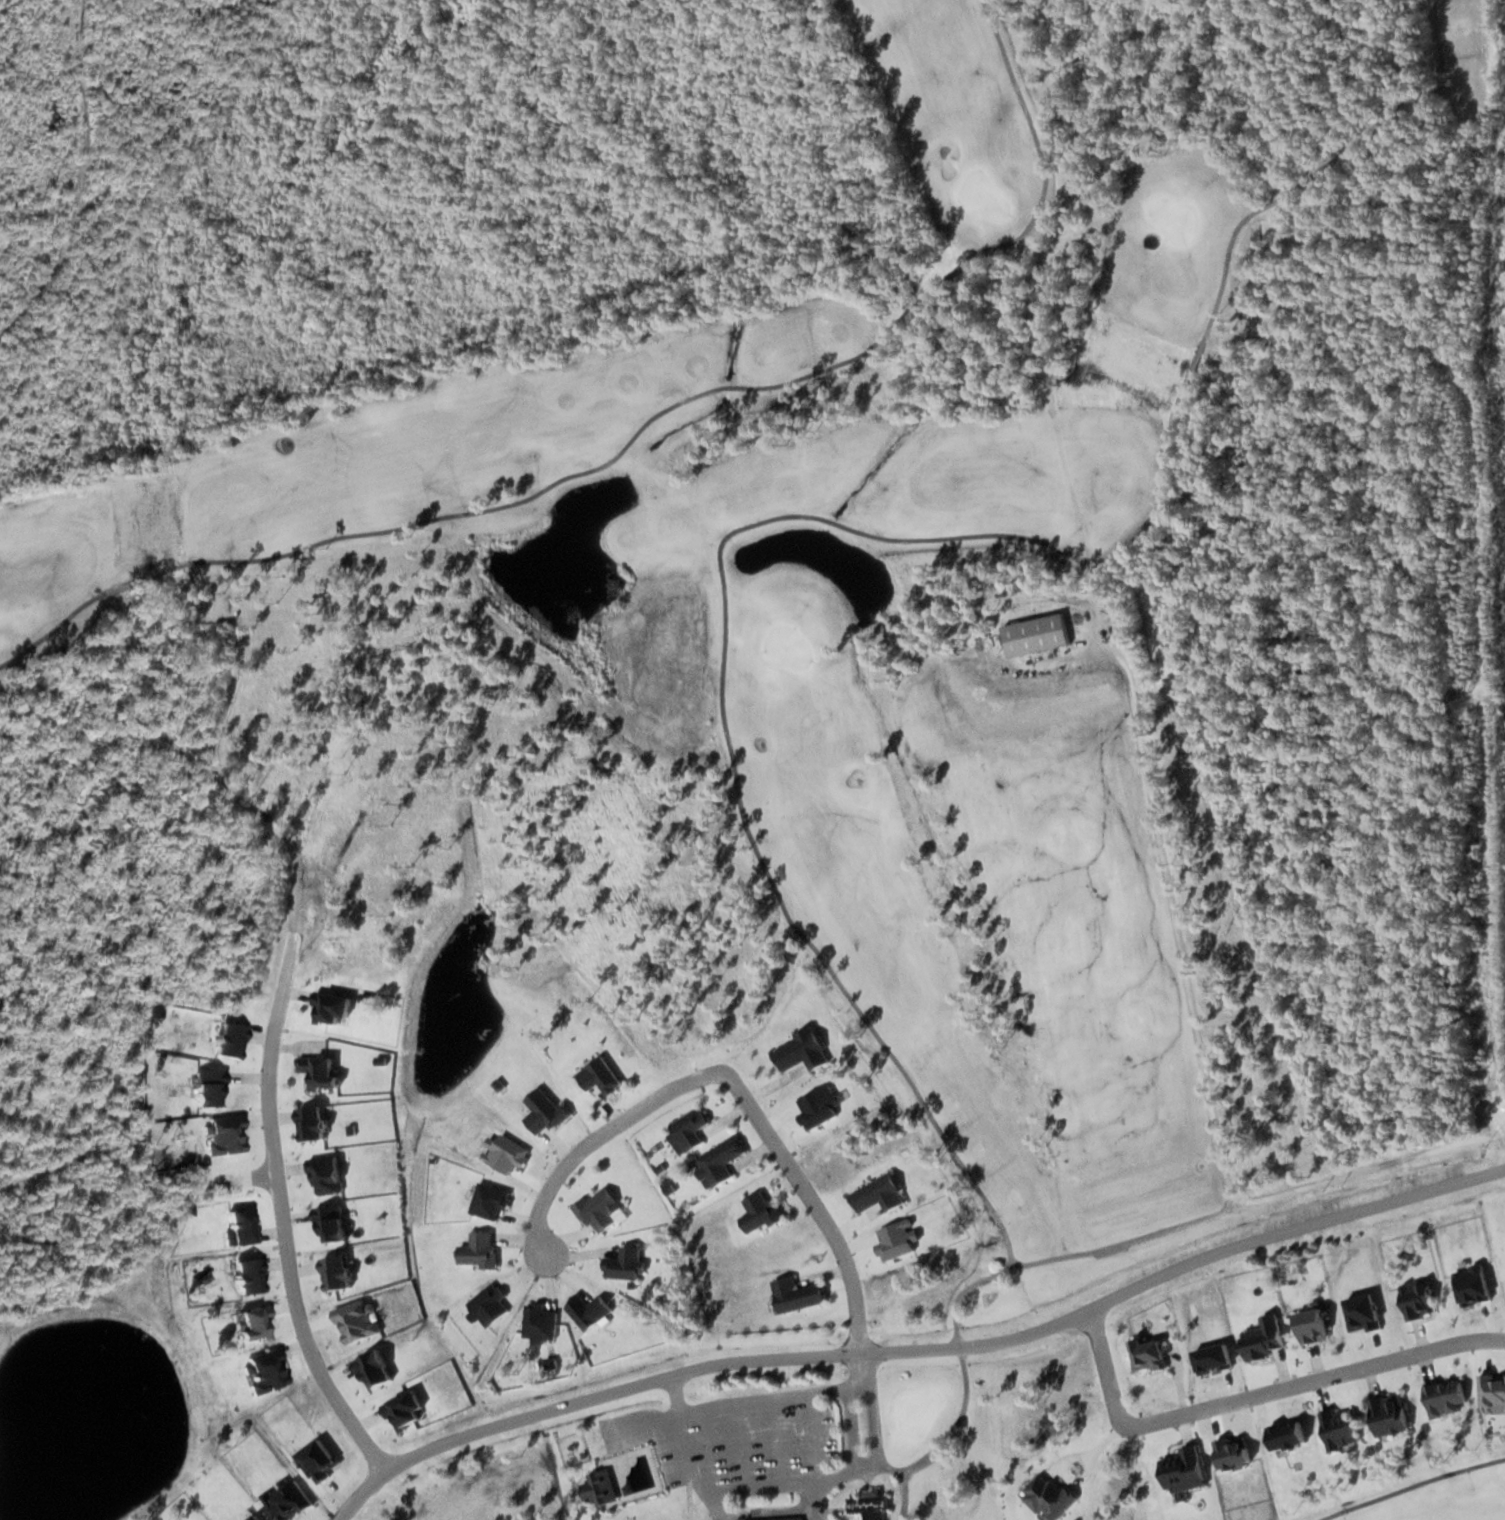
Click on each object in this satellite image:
building: (1034, 634)
building: (597, 1076)
road: (733, 1084)
building: (542, 1111)
building: (687, 1130)
building: (719, 1160)
building: (876, 1195)
building: (597, 1209)
building: (757, 1212)
road: (281, 1215)
building: (478, 1250)
building: (622, 1263)
building: (794, 1294)
building: (1416, 1299)
building: (1261, 1338)
road: (915, 1351)
building: (1146, 1354)
road: (1253, 1396)
building: (1443, 1397)
building: (1387, 1415)
building: (1338, 1427)
building: (1181, 1470)
building: (597, 1487)
building: (868, 1506)
building: (775, 1519)

